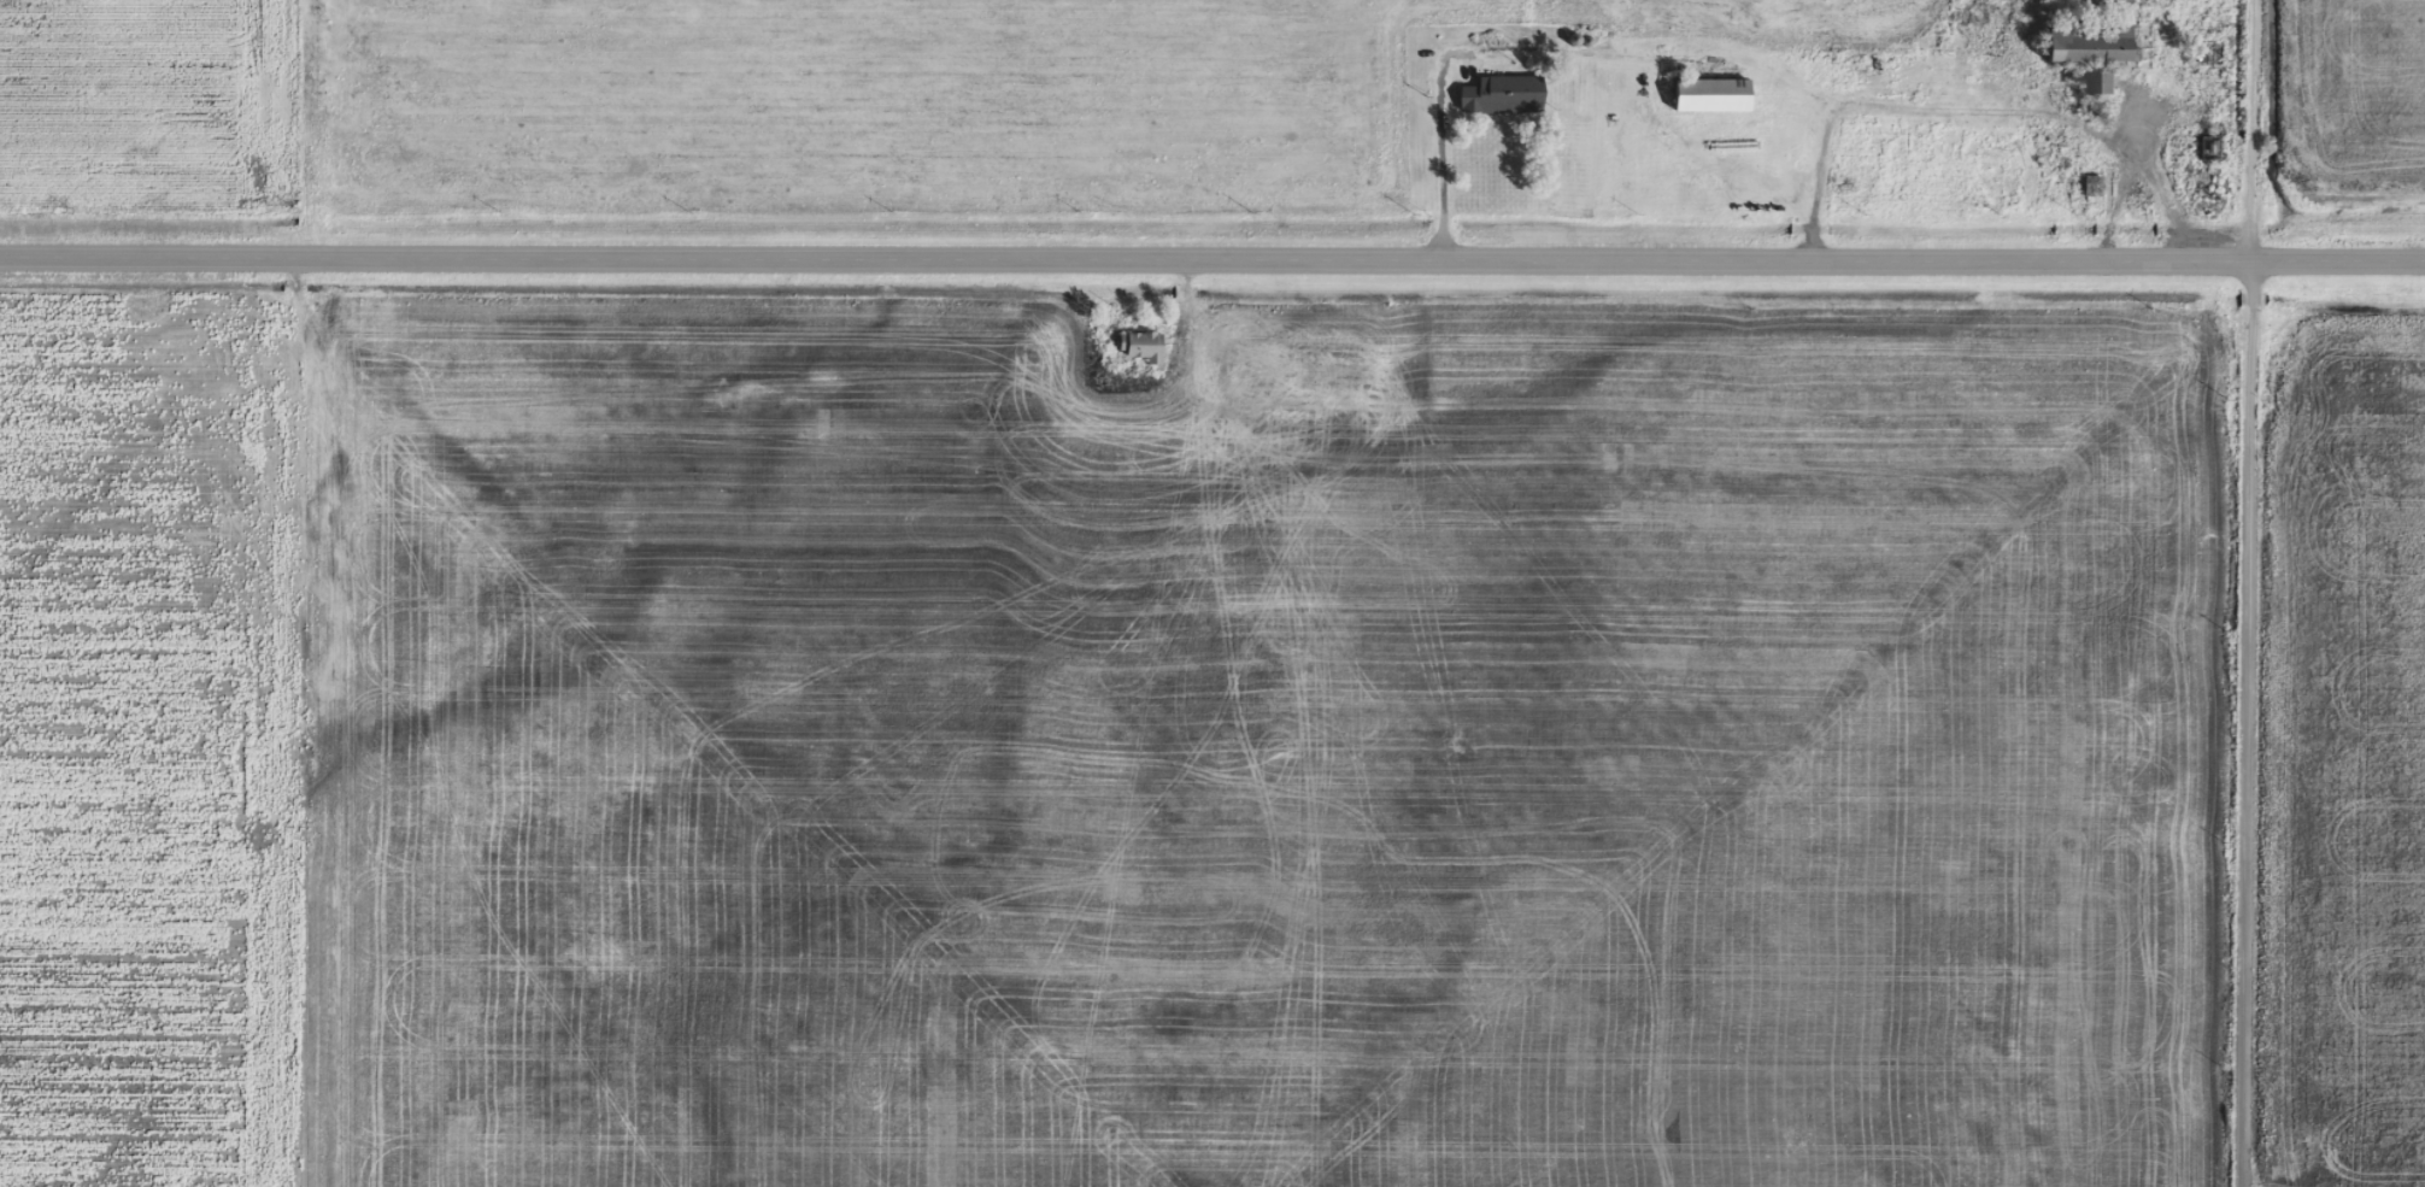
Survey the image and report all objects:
building: (2090, 43)
building: (2091, 83)
building: (1503, 95)
building: (1711, 95)
building: (2092, 187)
road: (1126, 262)
road: (2338, 264)
building: (1141, 347)
road: (2251, 593)
building: (2307, 674)

